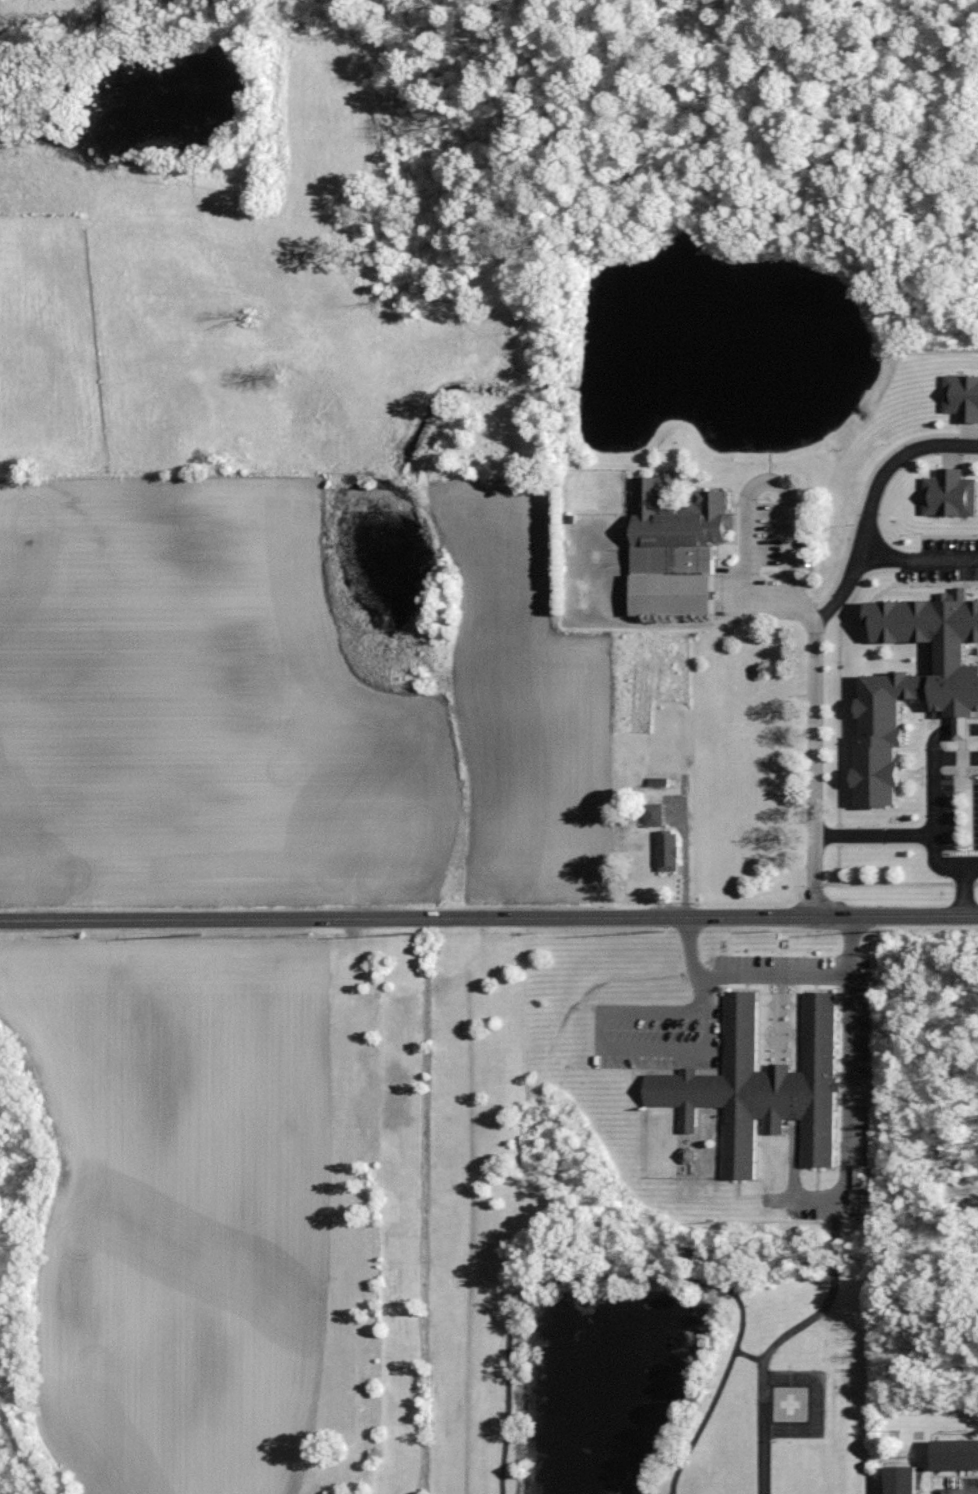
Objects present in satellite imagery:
building: (951, 493)
road: (744, 505)
road: (870, 505)
building: (676, 548)
road: (916, 562)
building: (914, 686)
road: (815, 772)
road: (933, 799)
building: (655, 814)
road: (919, 836)
building: (670, 850)
road: (683, 859)
road: (969, 869)
road: (488, 915)
road: (770, 975)
road: (702, 994)
road: (634, 1014)
road: (669, 1050)
building: (762, 1086)
road: (844, 1107)
building: (861, 1178)
building: (861, 1197)
road: (635, 1278)
helipad: (790, 1404)
road: (764, 1434)
building: (957, 1454)
building: (905, 1480)

